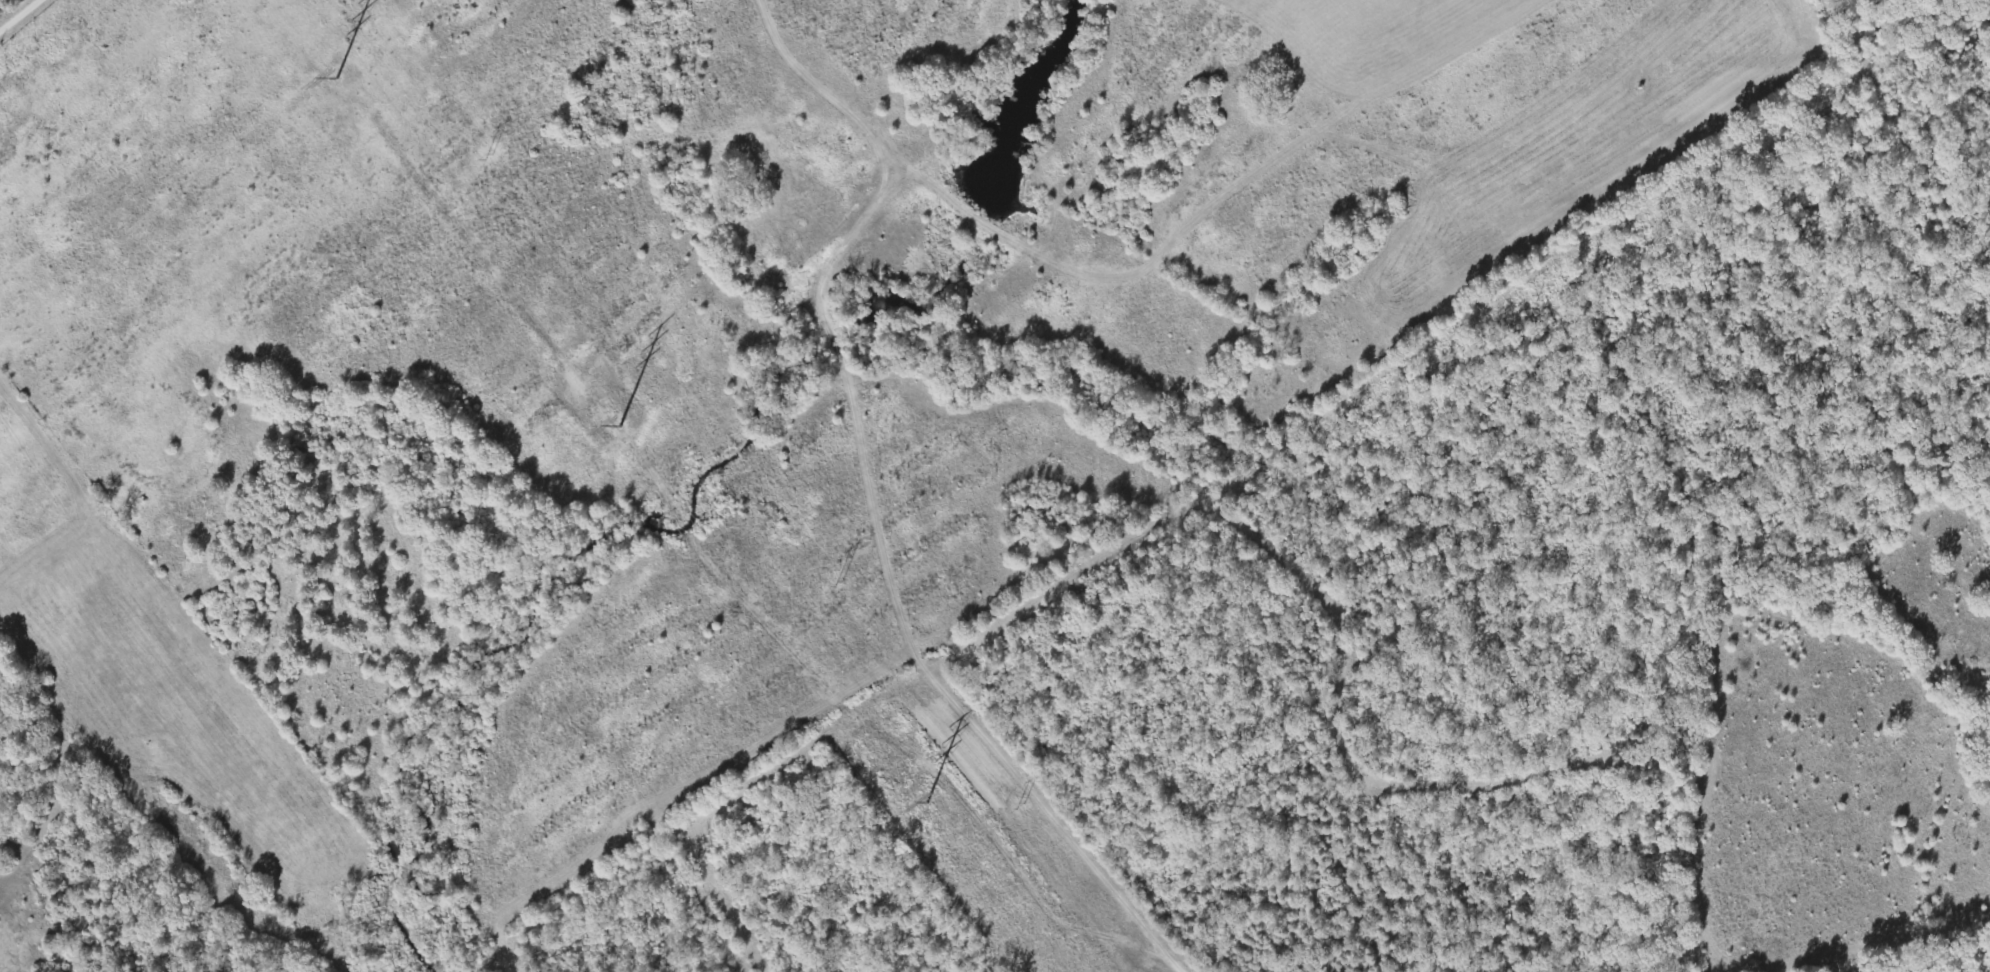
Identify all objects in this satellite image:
road: (30, 26)
power tower: (319, 85)
power tower: (485, 152)
power tower: (604, 429)
power tower: (837, 583)
power tower: (1020, 806)
power tower: (909, 807)
road: (715, 904)

